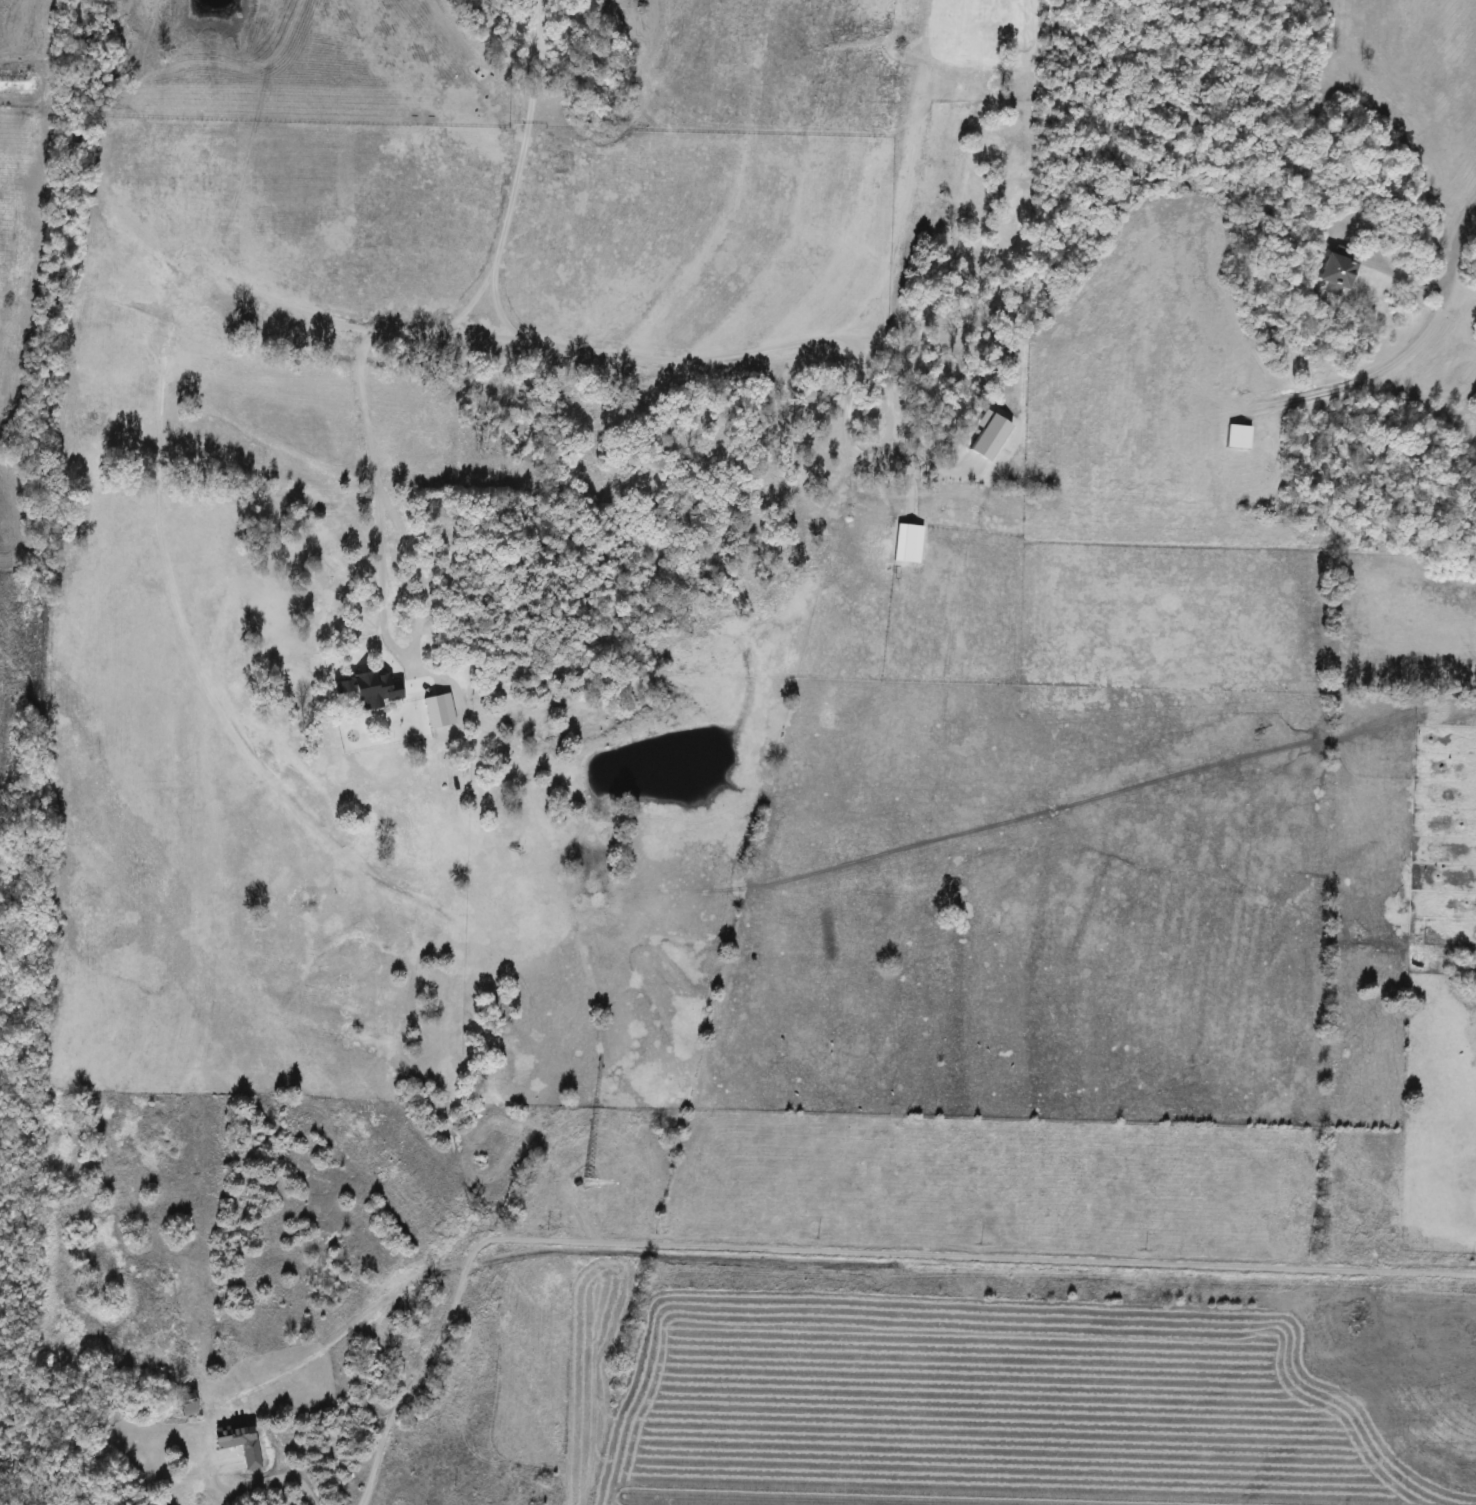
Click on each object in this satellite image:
building: (1012, 11)
road: (966, 15)
road: (1447, 264)
building: (1331, 271)
building: (1236, 437)
road: (831, 1246)
building: (244, 1443)
road: (292, 1476)

